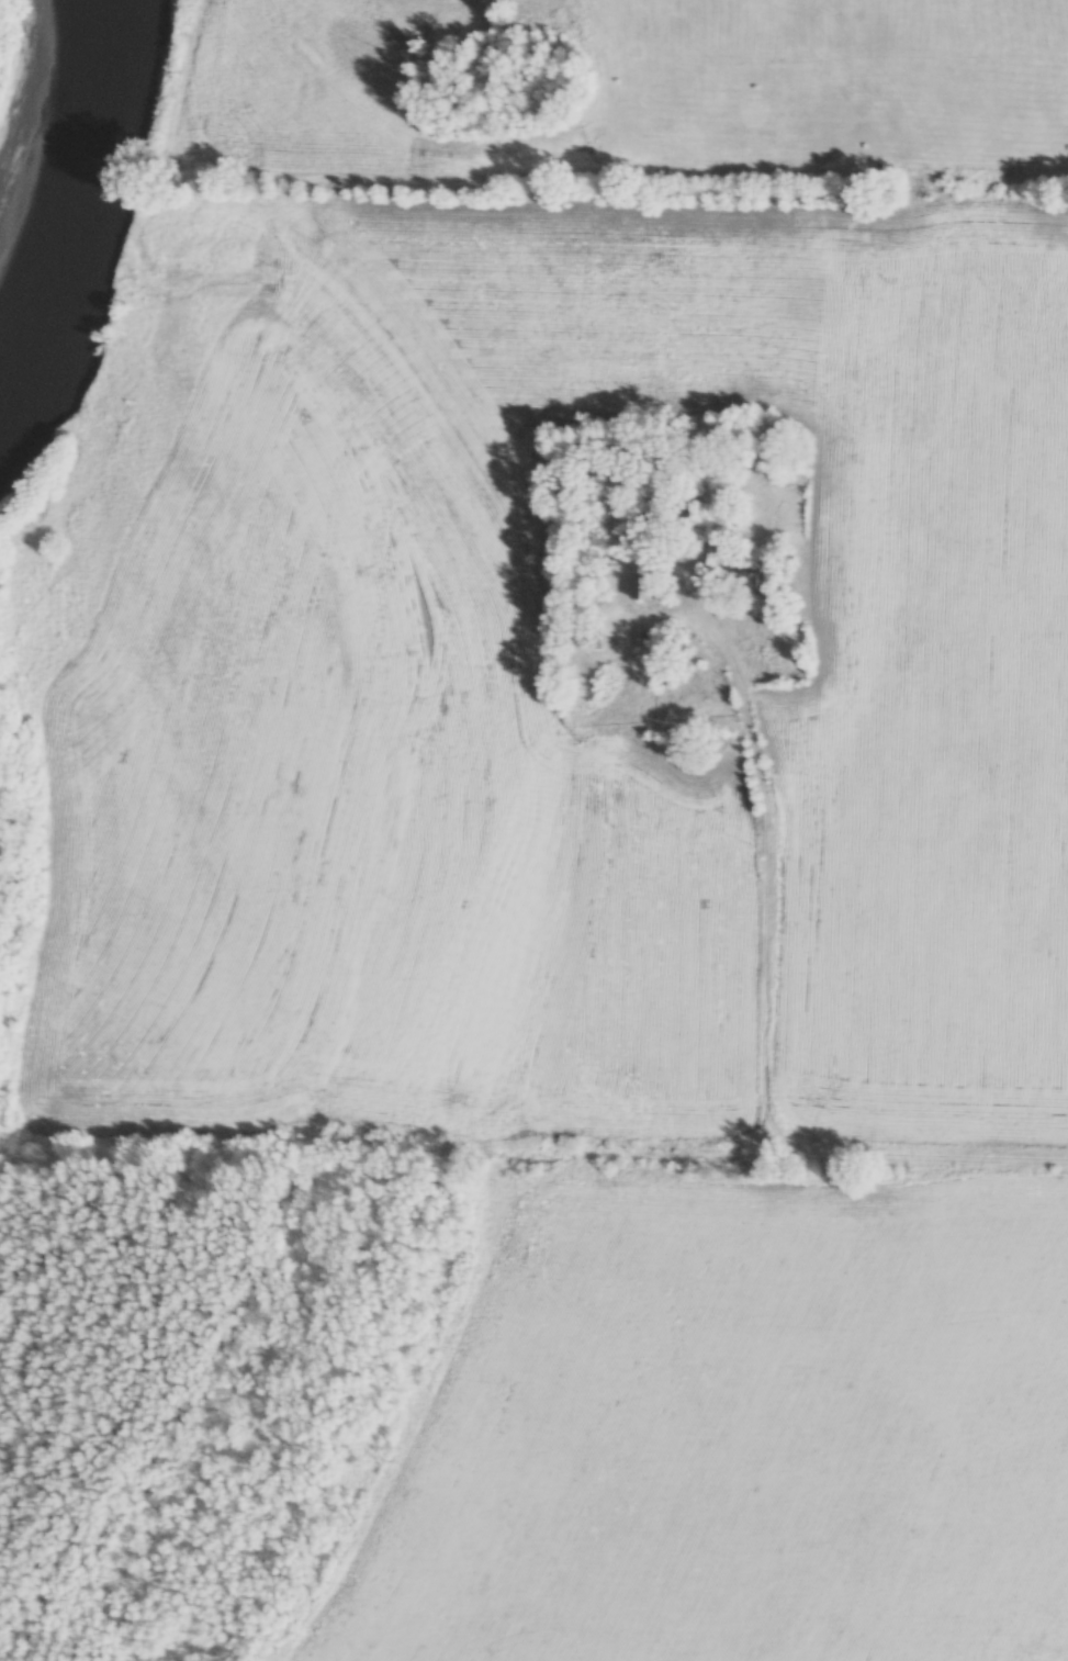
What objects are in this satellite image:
river: (56, 130)
building: (640, 582)
building: (578, 636)
road: (768, 1010)

